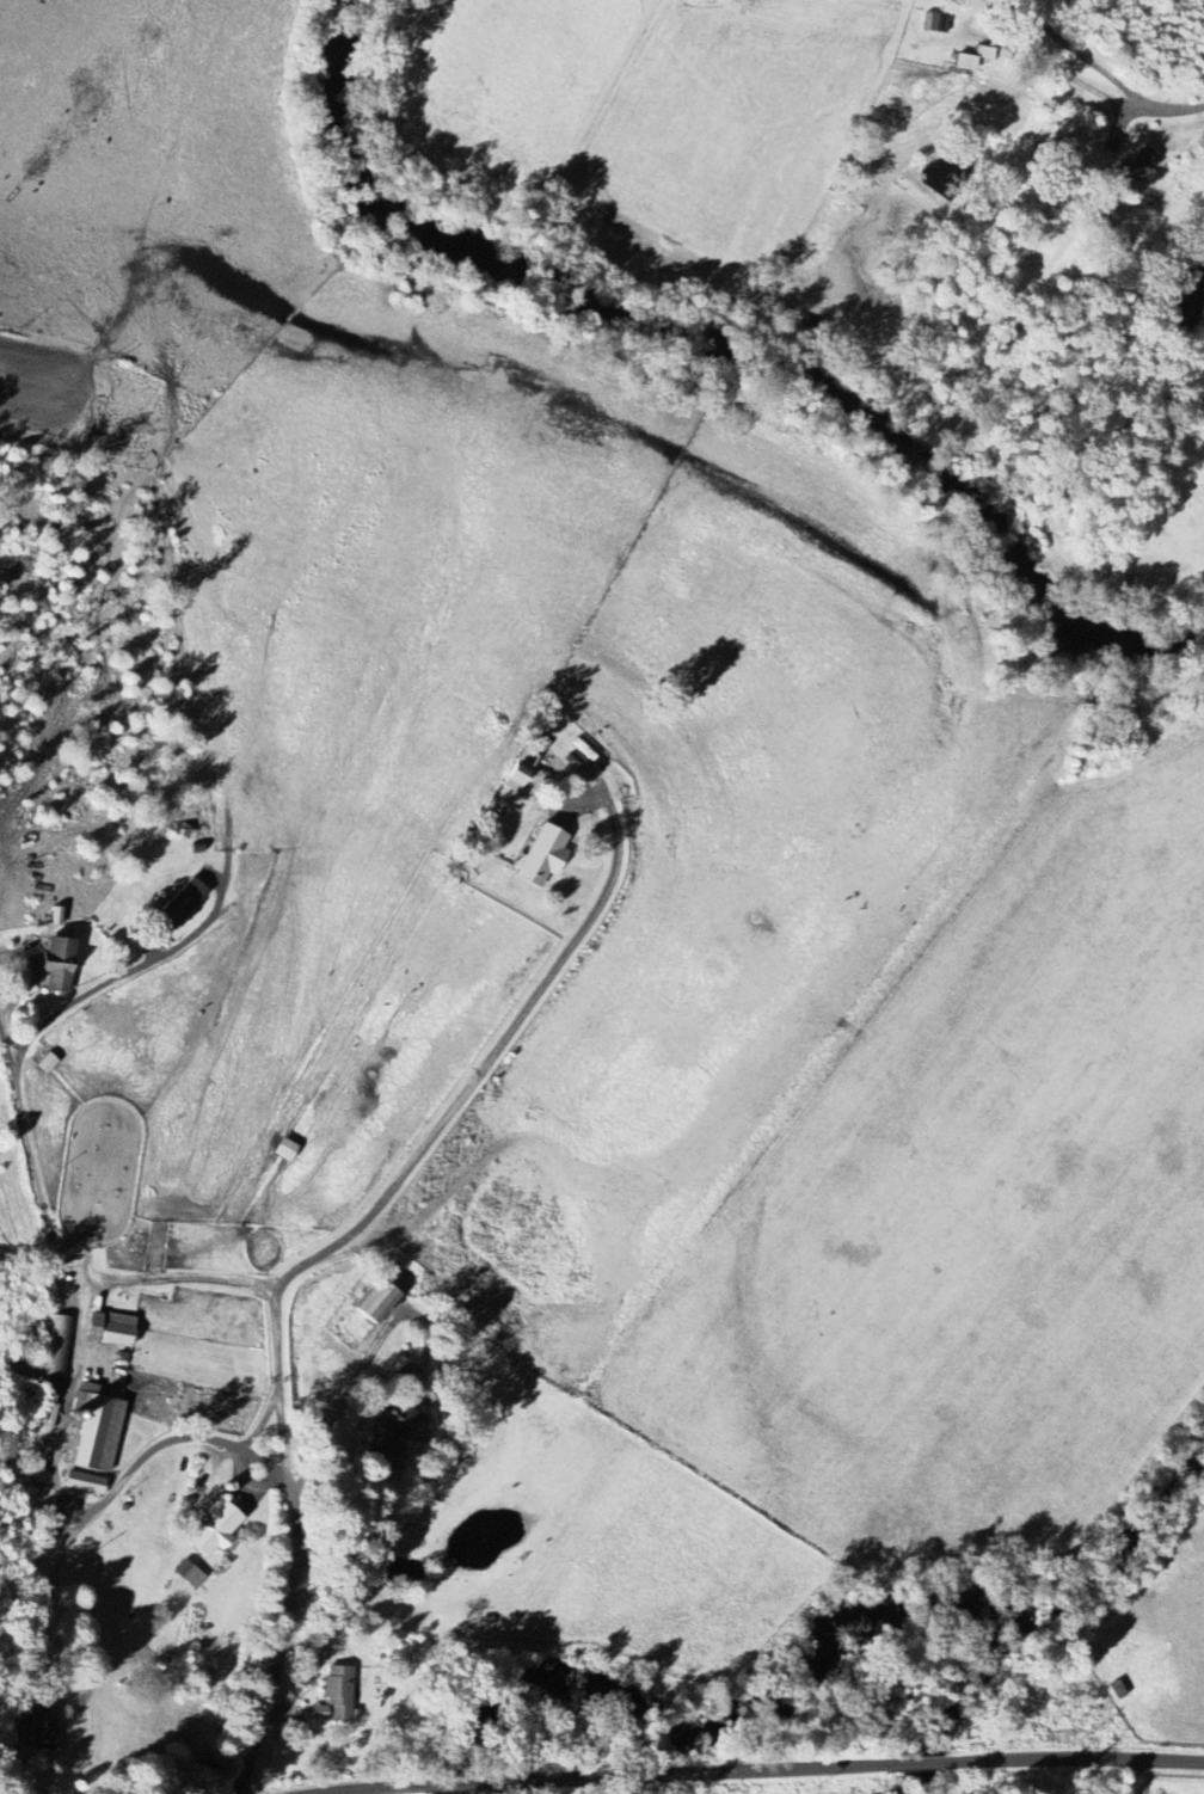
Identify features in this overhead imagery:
road: (1086, 59)
building: (965, 63)
road: (1163, 110)
building: (1144, 162)
river: (719, 361)
building: (522, 770)
building: (546, 855)
building: (184, 903)
building: (59, 965)
road: (8, 1046)
road: (487, 1064)
road: (20, 1112)
building: (376, 1301)
building: (112, 1329)
building: (57, 1346)
road: (368, 1362)
building: (401, 1430)
building: (85, 1483)
road: (75, 1505)
building: (215, 1531)
road: (296, 1547)
building: (189, 1574)
river: (835, 1664)
building: (1118, 1690)
building: (337, 1696)
park: (4, 1704)
building: (42, 1731)
road: (849, 1763)
road: (455, 1781)
road: (369, 1788)

